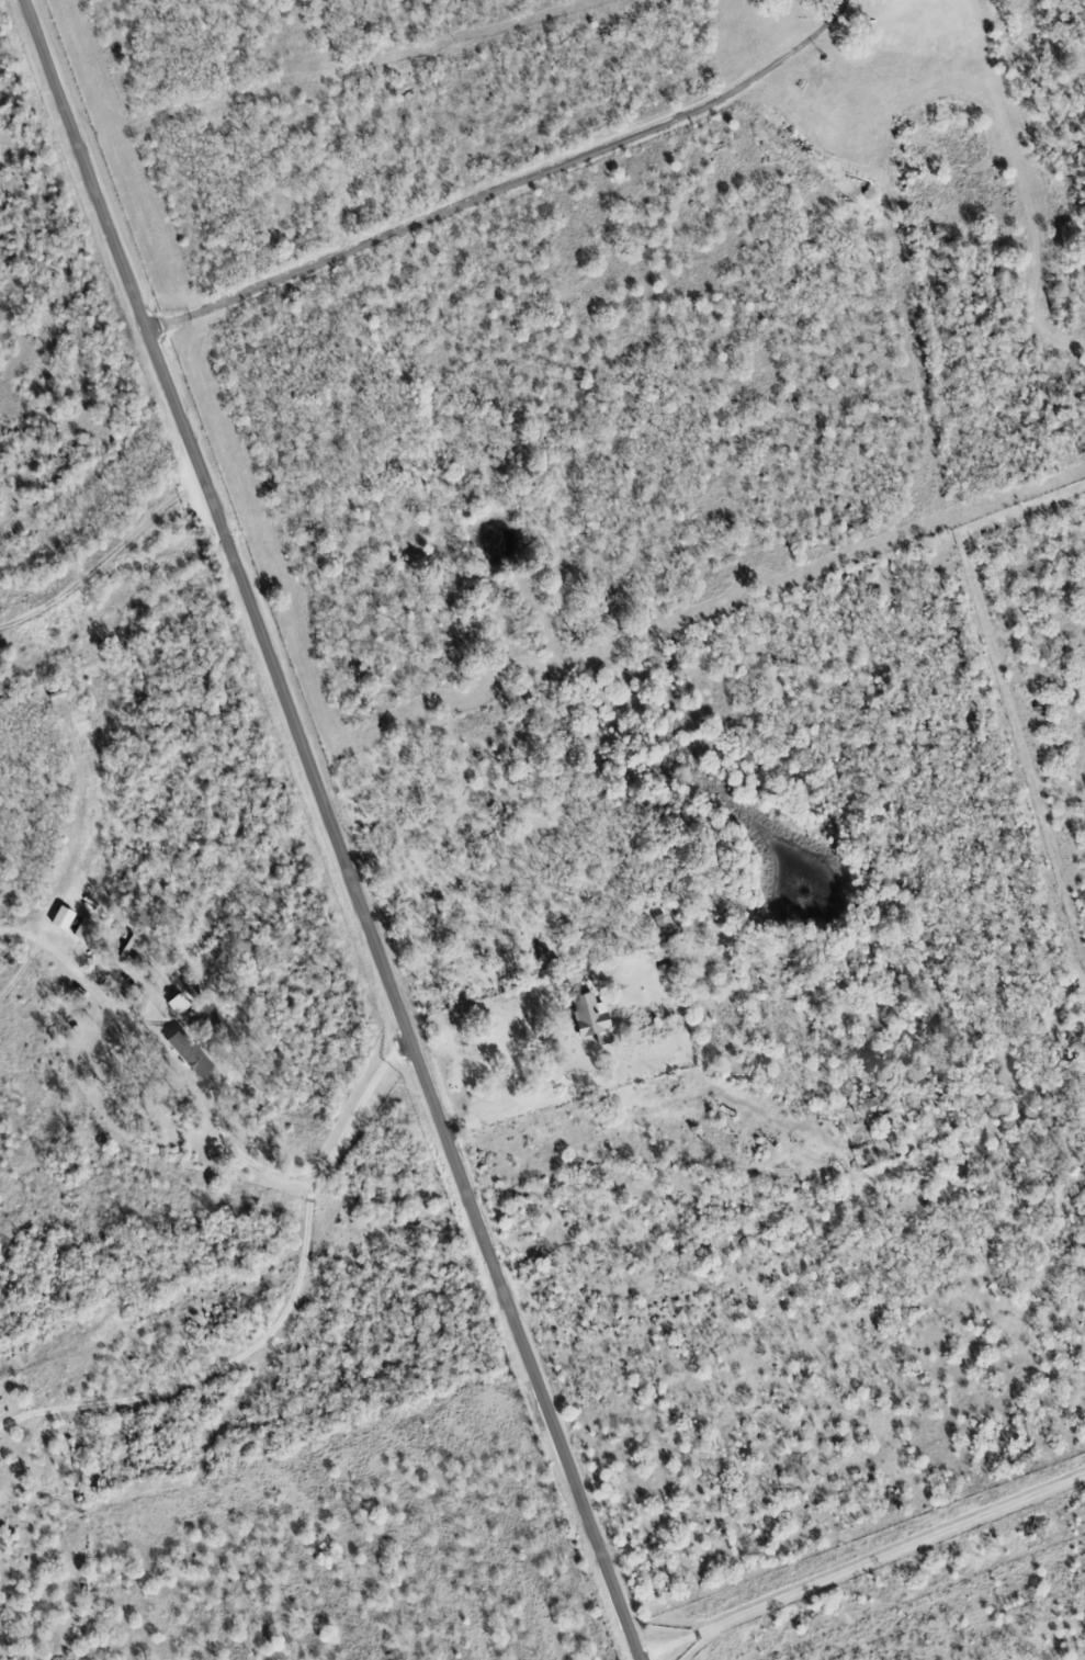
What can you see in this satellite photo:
road: (506, 187)
road: (105, 561)
building: (57, 696)
road: (330, 828)
building: (63, 917)
building: (78, 923)
building: (190, 992)
building: (178, 1004)
building: (591, 1019)
road: (199, 1023)
building: (190, 1053)
road: (587, 1091)
road: (358, 1108)
road: (218, 1368)
road: (861, 1563)

